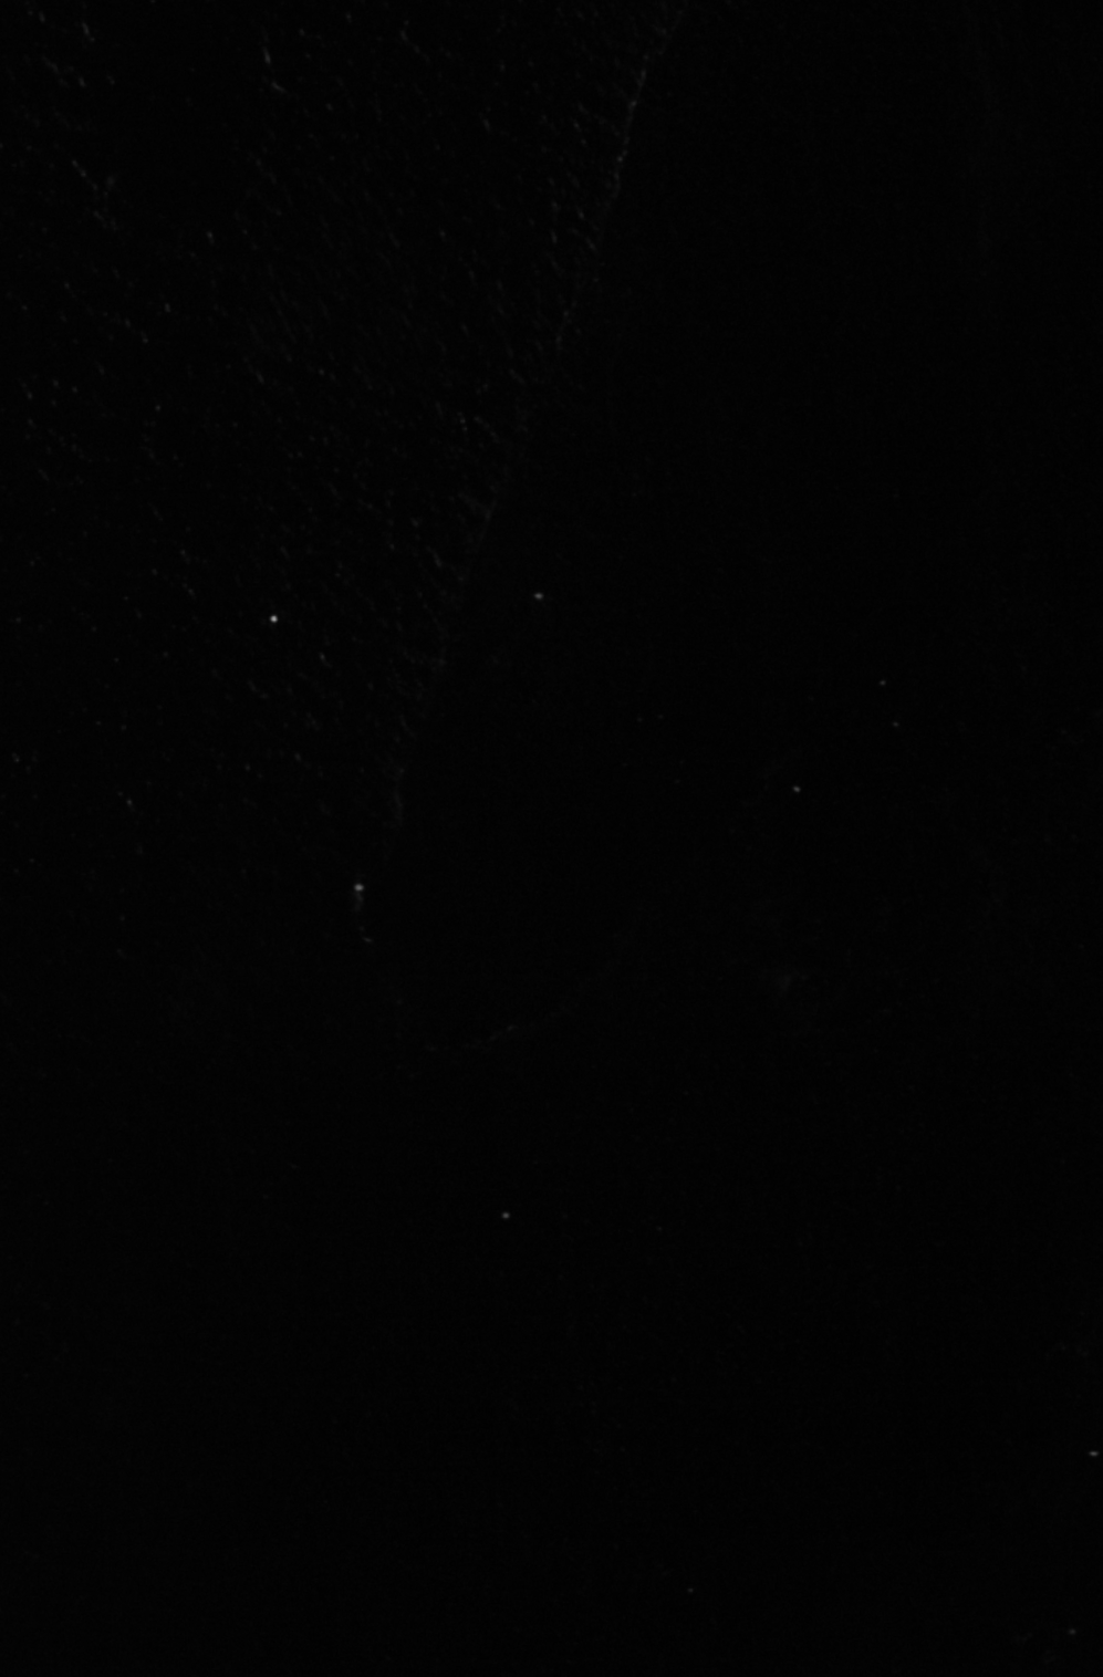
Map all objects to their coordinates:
river: (84, 92)

